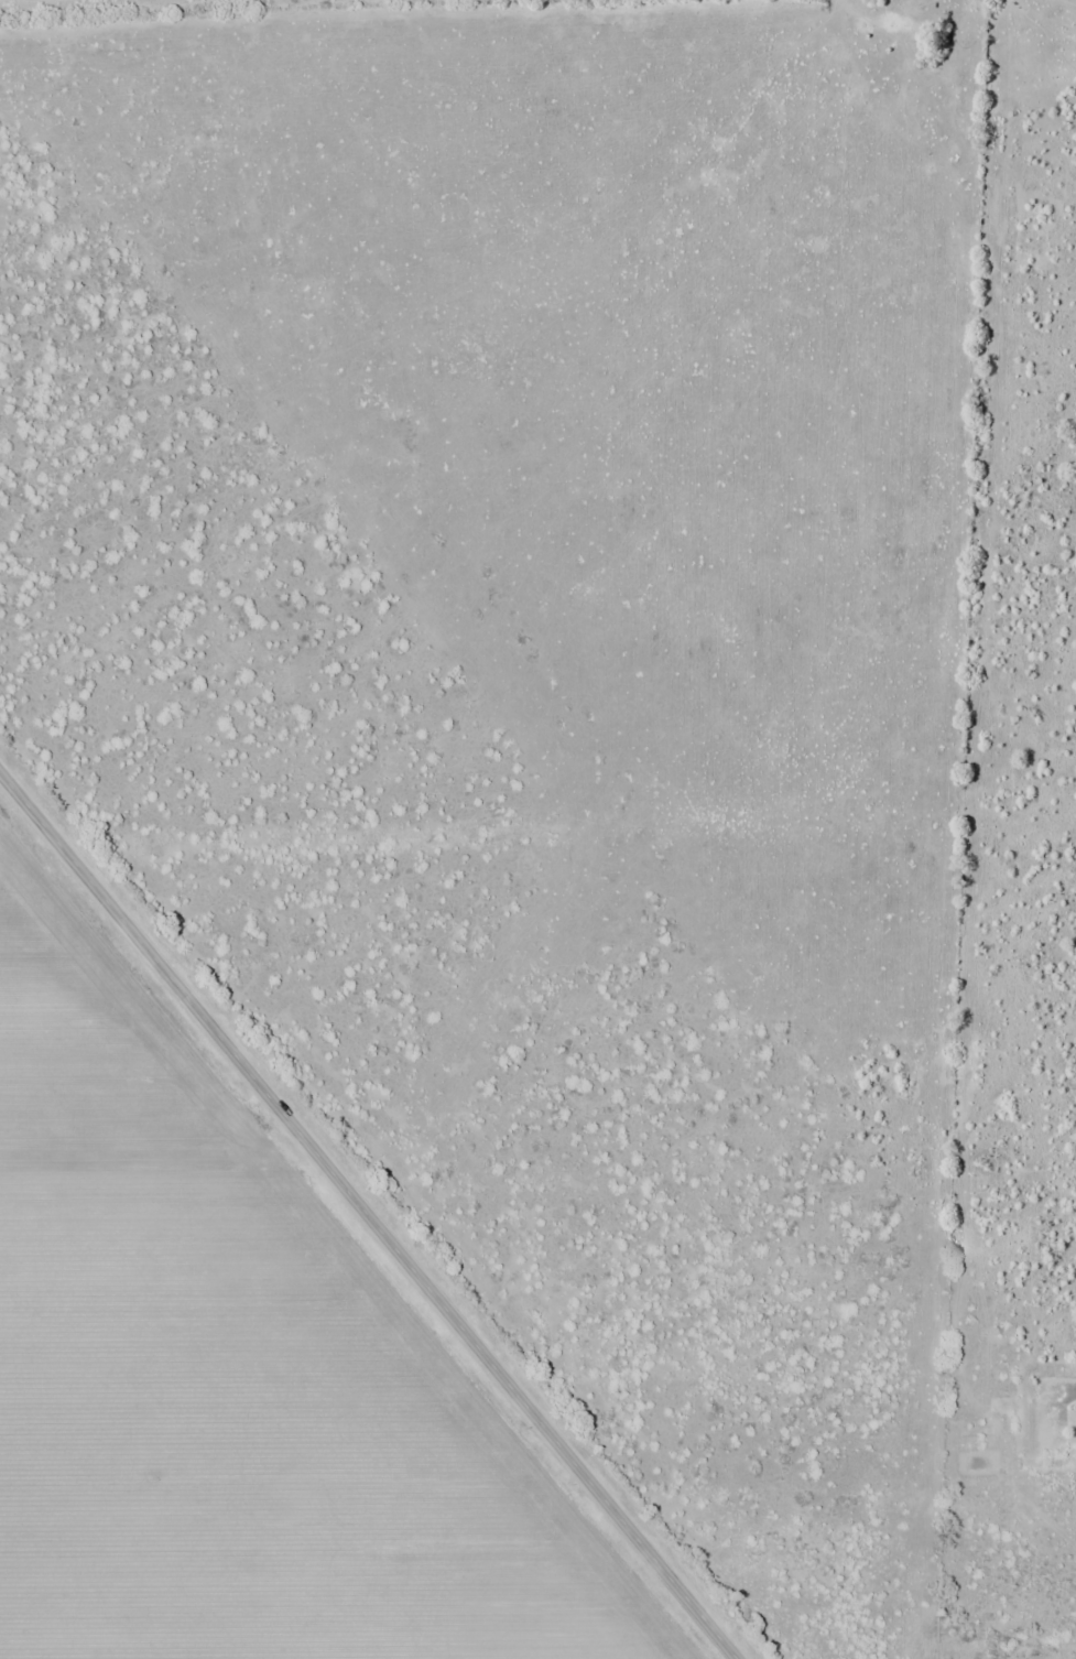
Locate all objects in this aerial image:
road: (367, 1217)

